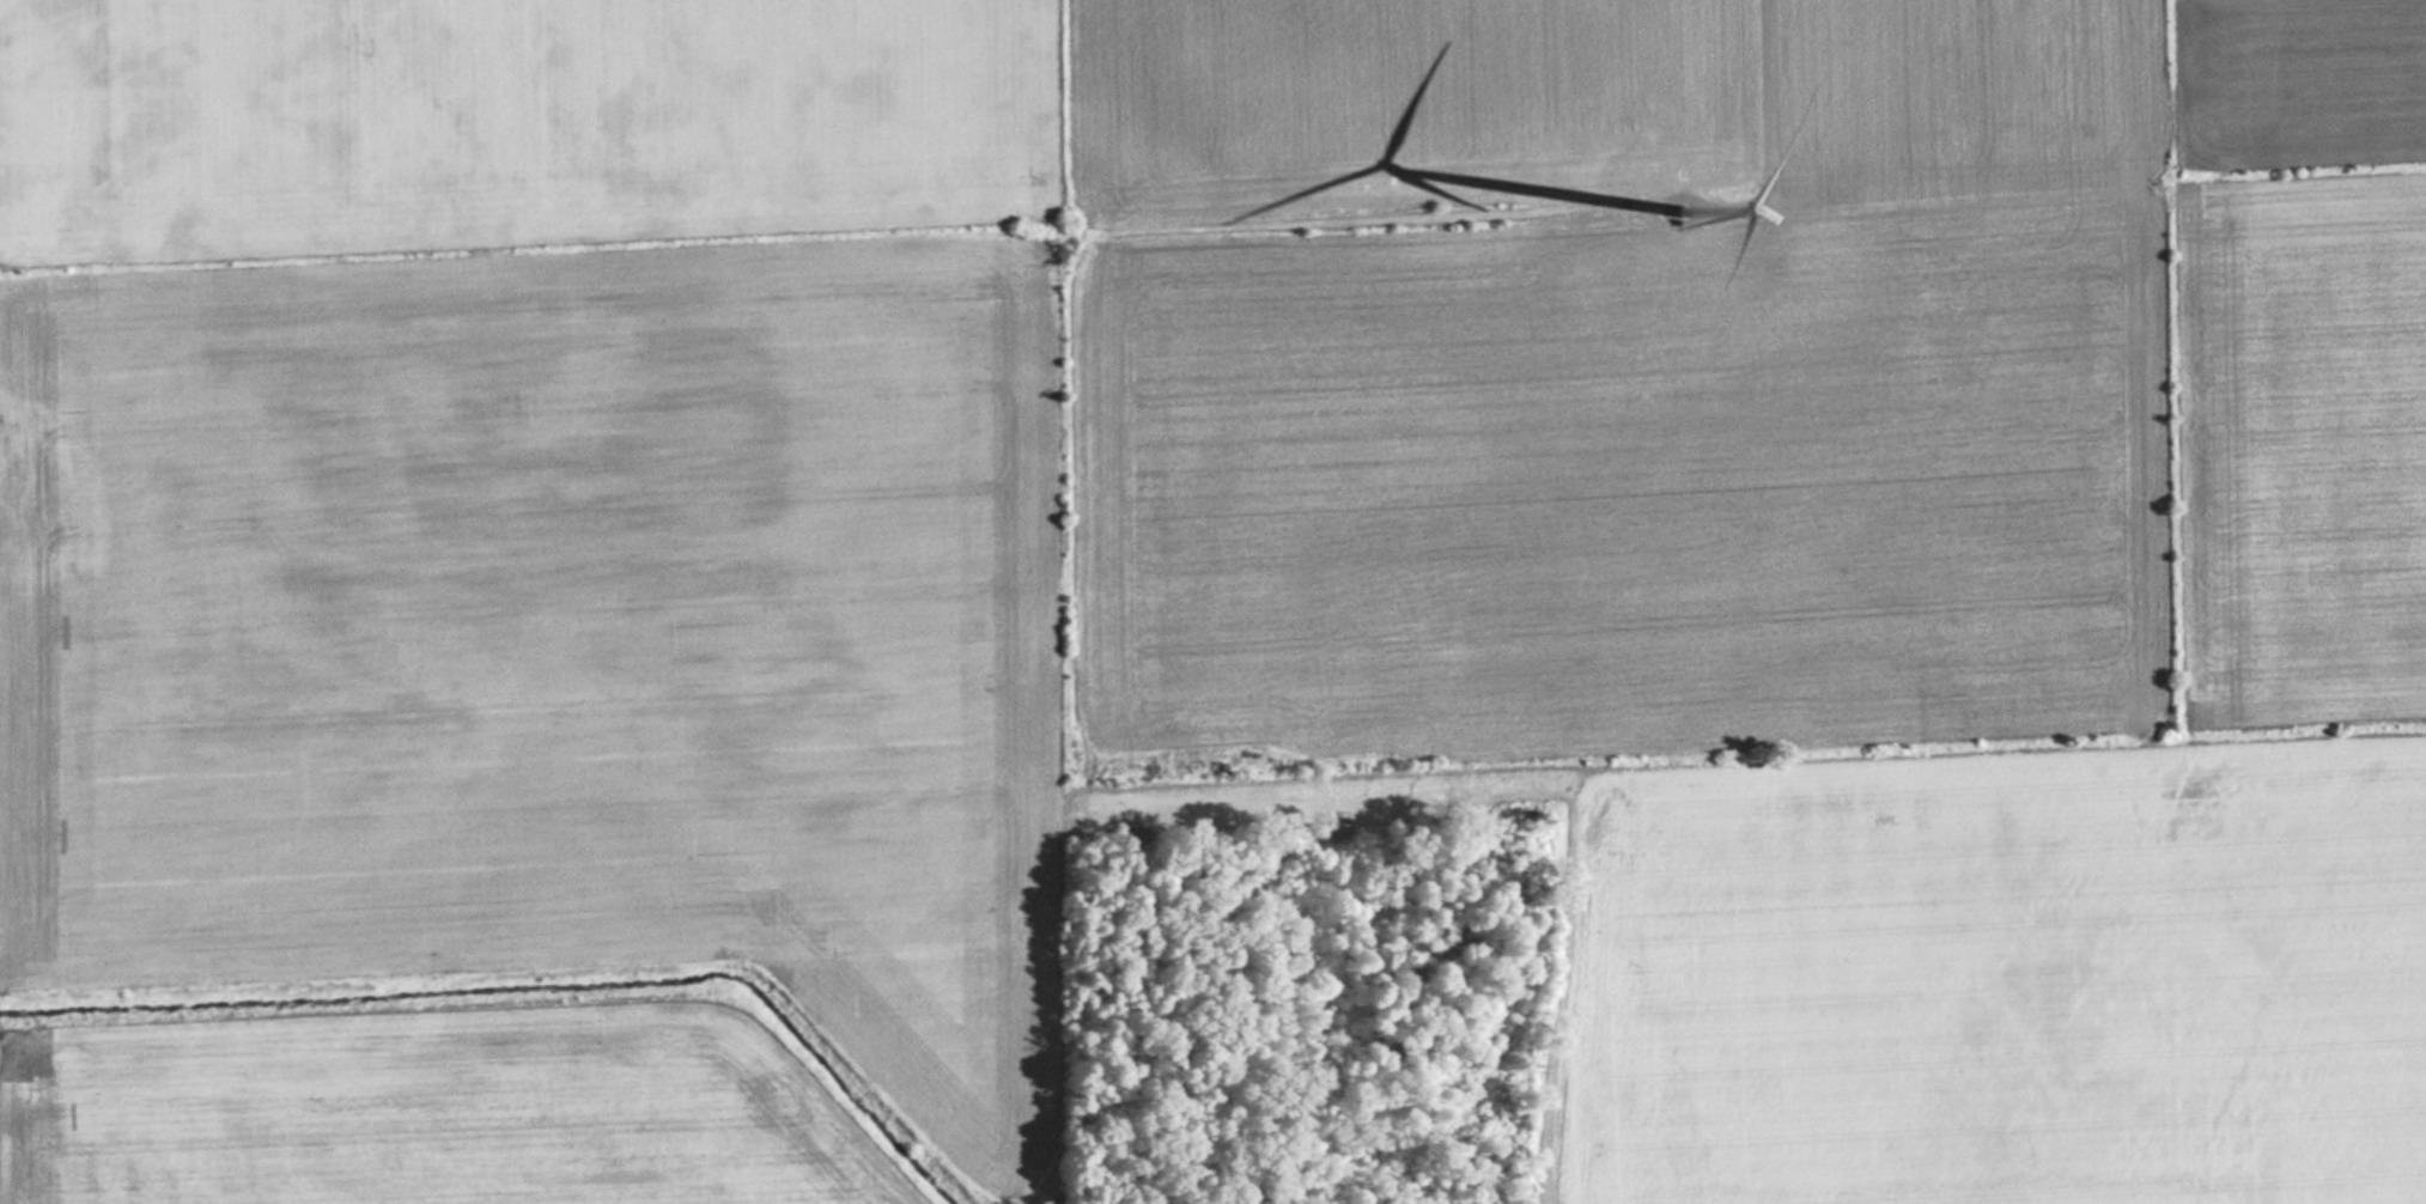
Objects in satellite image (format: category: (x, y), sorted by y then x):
wind turbine: (1686, 215)

